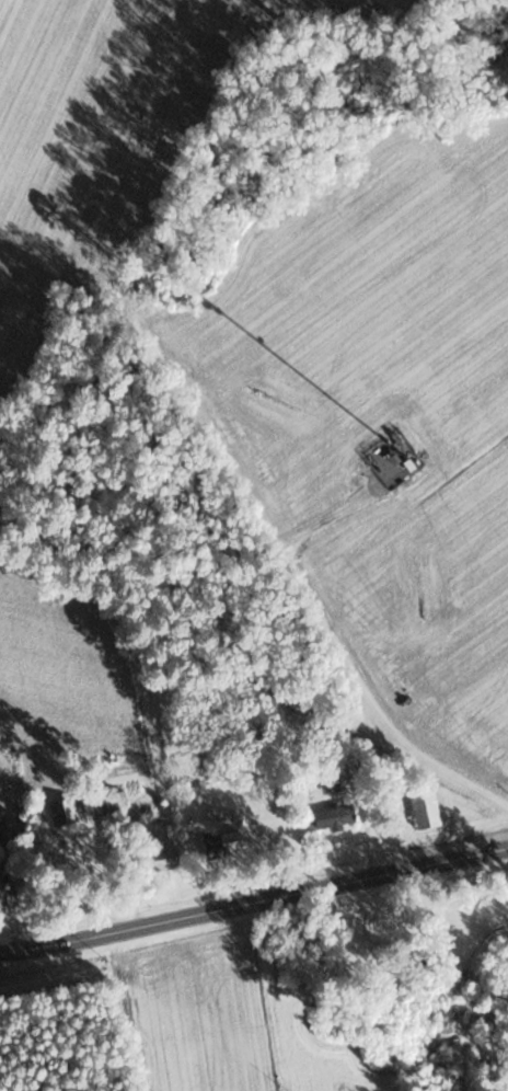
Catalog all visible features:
building: (92, 804)
building: (424, 809)
building: (332, 816)
building: (201, 825)
building: (228, 840)
building: (161, 852)
road: (254, 901)

